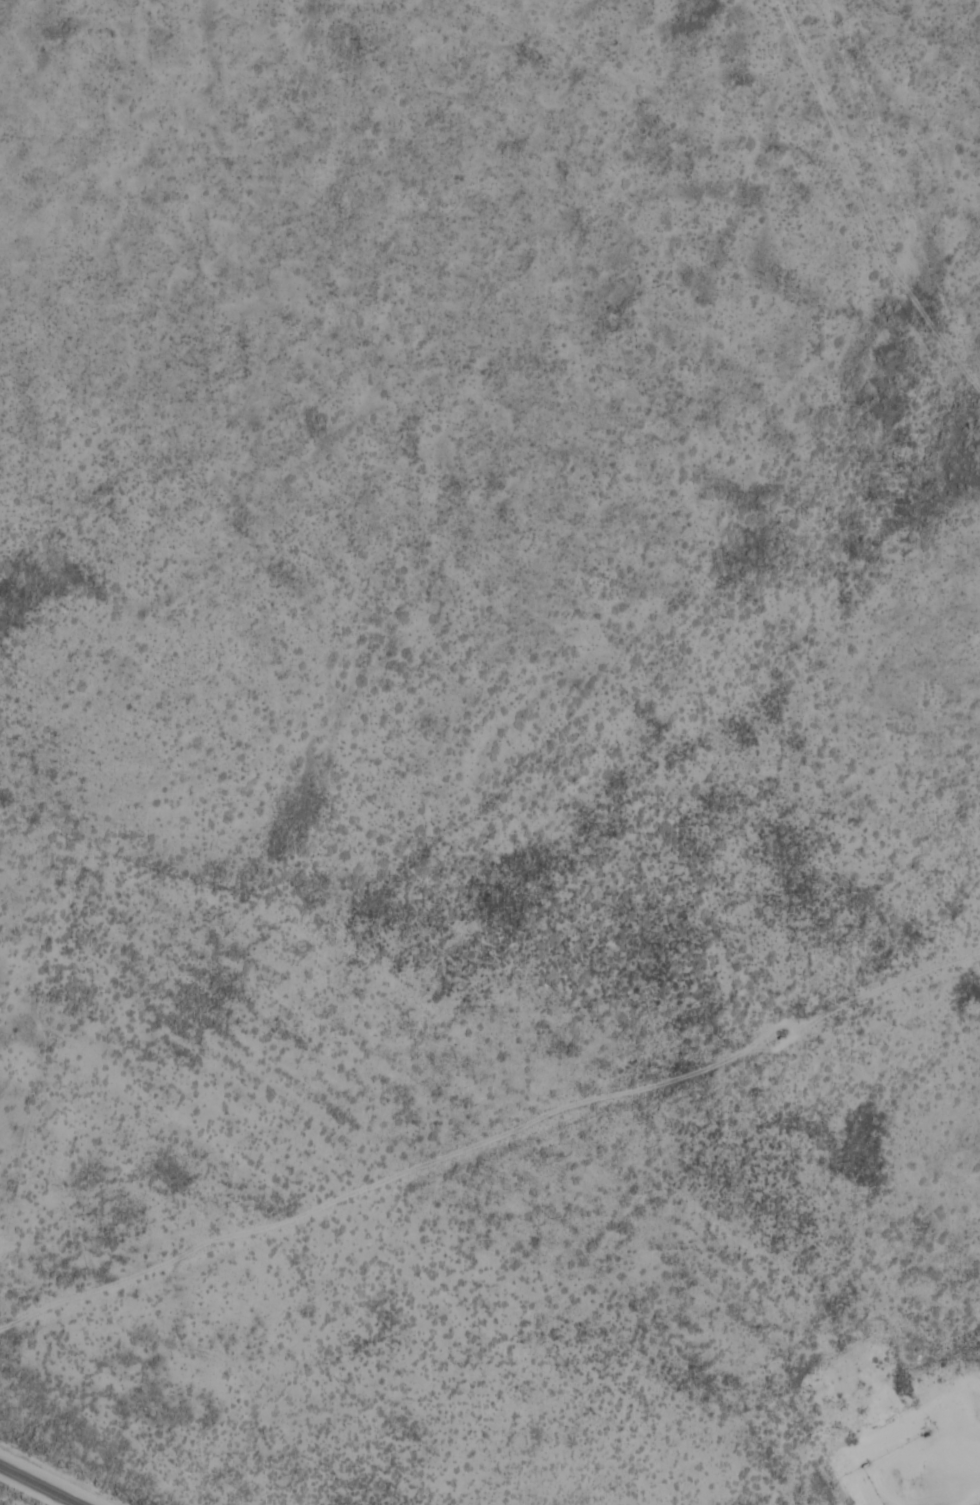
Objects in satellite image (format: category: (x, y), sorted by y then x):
road: (865, 205)
road: (41, 1484)

